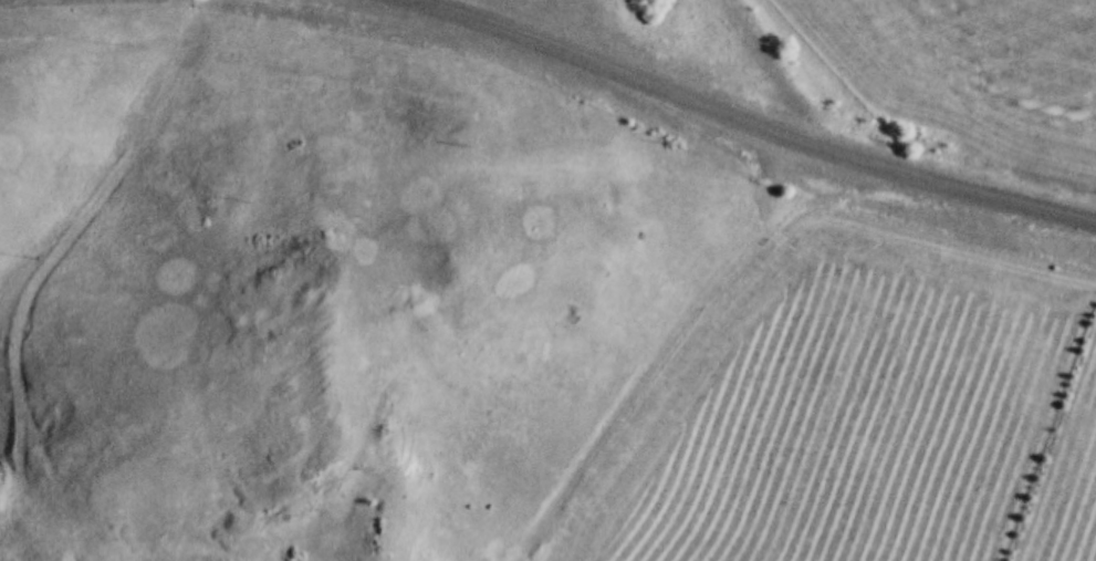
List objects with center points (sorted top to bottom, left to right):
road: (735, 127)

